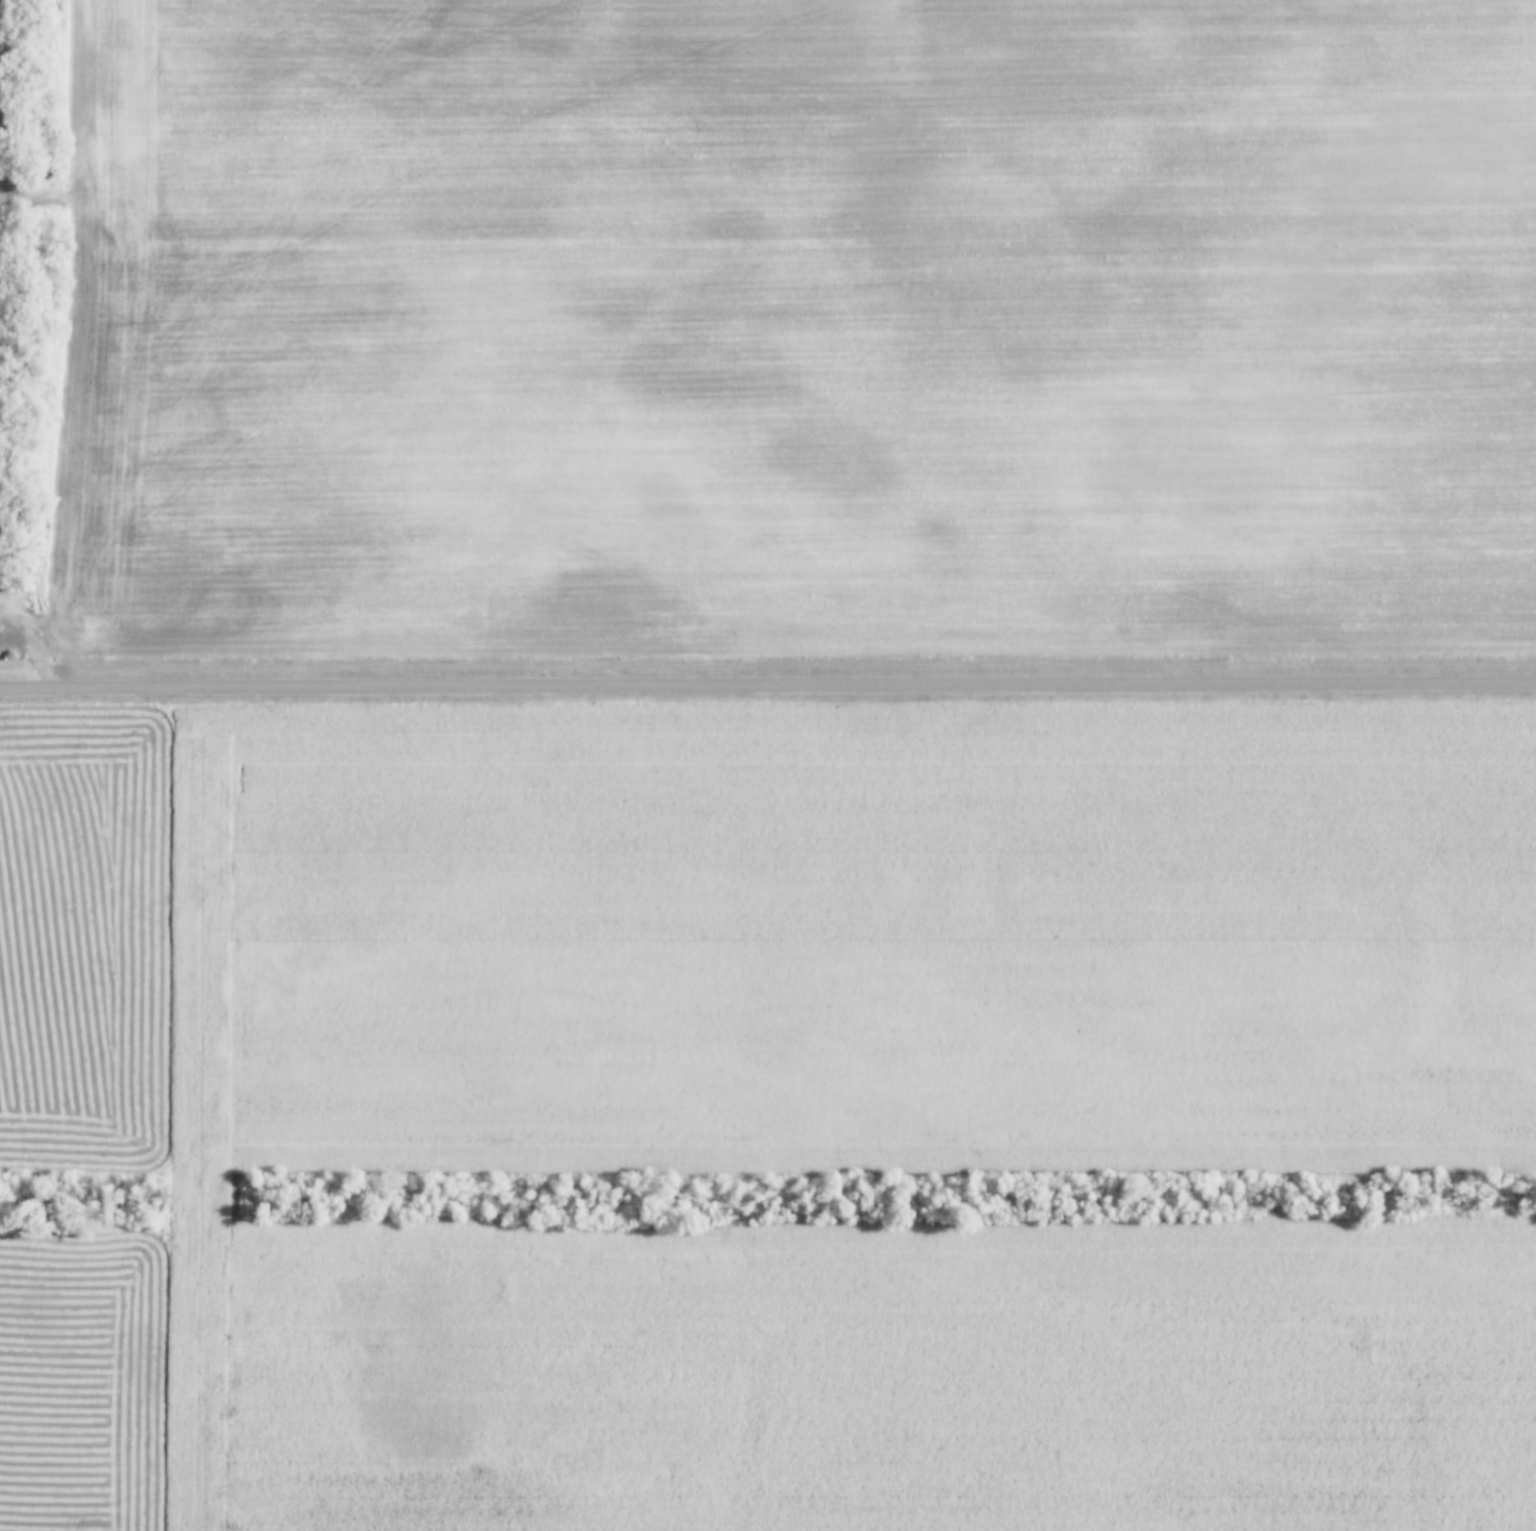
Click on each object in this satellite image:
road: (768, 686)

